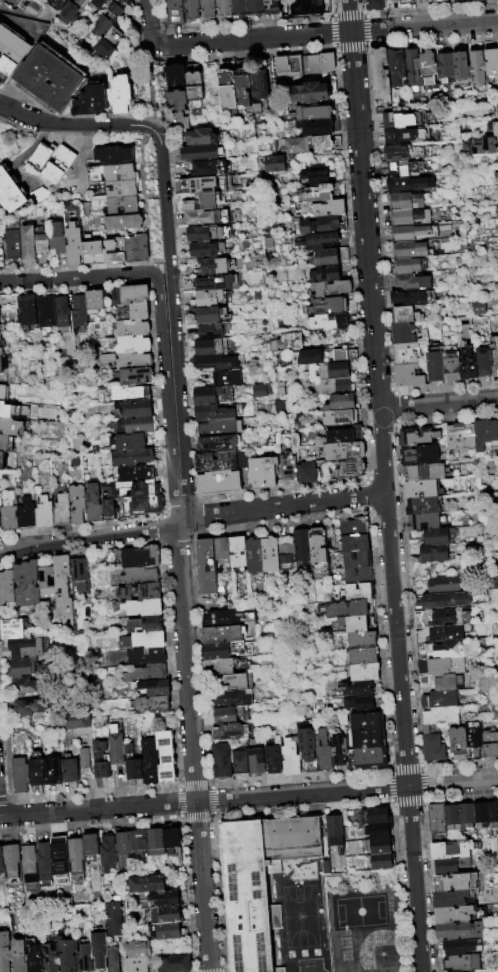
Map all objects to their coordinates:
building: (400, 0)
building: (469, 0)
building: (483, 0)
building: (423, 1)
building: (96, 3)
building: (56, 4)
building: (373, 5)
building: (272, 7)
building: (307, 7)
building: (32, 8)
building: (257, 8)
building: (224, 9)
building: (240, 9)
building: (191, 10)
building: (208, 10)
road: (423, 10)
building: (69, 11)
building: (175, 12)
road: (362, 12)
road: (347, 13)
road: (18, 14)
road: (333, 14)
road: (350, 16)
road: (366, 16)
building: (108, 17)
road: (330, 18)
road: (149, 23)
road: (240, 23)
road: (424, 27)
road: (330, 33)
road: (138, 38)
road: (251, 40)
building: (108, 43)
road: (365, 44)
road: (332, 49)
building: (11, 51)
road: (246, 54)
building: (320, 63)
building: (492, 63)
building: (446, 65)
building: (462, 65)
building: (290, 67)
building: (397, 67)
building: (414, 69)
building: (478, 69)
building: (429, 71)
building: (381, 72)
building: (176, 76)
building: (47, 80)
building: (195, 84)
building: (243, 85)
building: (211, 86)
building: (228, 86)
building: (260, 90)
building: (312, 93)
building: (119, 94)
building: (90, 101)
building: (180, 109)
building: (496, 110)
building: (314, 114)
road: (73, 116)
building: (494, 118)
road: (152, 120)
building: (403, 120)
road: (75, 125)
building: (316, 128)
building: (495, 129)
road: (152, 130)
building: (405, 136)
building: (203, 138)
building: (324, 144)
building: (481, 145)
road: (82, 149)
building: (202, 153)
building: (403, 153)
building: (113, 156)
building: (42, 157)
building: (497, 158)
building: (273, 163)
building: (59, 165)
building: (407, 168)
building: (210, 169)
building: (120, 174)
building: (317, 178)
building: (496, 178)
building: (410, 184)
building: (200, 186)
building: (121, 190)
building: (11, 191)
building: (319, 194)
road: (164, 196)
building: (406, 201)
road: (144, 202)
building: (203, 203)
building: (123, 206)
building: (324, 210)
building: (207, 218)
building: (410, 218)
building: (124, 223)
building: (320, 226)
building: (410, 233)
building: (208, 234)
building: (56, 237)
building: (320, 242)
building: (72, 243)
building: (11, 244)
building: (31, 244)
building: (135, 248)
building: (114, 249)
building: (410, 250)
building: (92, 251)
building: (206, 251)
building: (1, 256)
road: (169, 261)
road: (142, 263)
road: (370, 263)
building: (218, 266)
building: (407, 266)
building: (328, 267)
road: (80, 280)
building: (413, 282)
building: (217, 284)
building: (333, 290)
building: (131, 295)
building: (412, 297)
building: (210, 299)
building: (94, 302)
building: (329, 307)
building: (78, 309)
building: (27, 310)
building: (138, 311)
building: (46, 312)
building: (61, 312)
road: (180, 312)
building: (406, 315)
building: (209, 316)
building: (335, 323)
road: (175, 326)
building: (130, 329)
building: (211, 332)
building: (404, 334)
building: (0, 337)
building: (285, 341)
building: (131, 346)
building: (211, 348)
road: (358, 348)
building: (1, 351)
building: (406, 354)
building: (495, 356)
building: (133, 361)
building: (485, 362)
building: (218, 363)
building: (469, 363)
building: (436, 364)
building: (452, 364)
building: (1, 365)
building: (336, 367)
building: (409, 376)
building: (138, 377)
building: (227, 379)
building: (333, 387)
building: (260, 390)
building: (4, 393)
building: (127, 393)
building: (207, 397)
road: (166, 403)
building: (341, 403)
road: (440, 404)
building: (133, 409)
building: (4, 410)
building: (208, 413)
building: (341, 418)
building: (134, 425)
building: (10, 427)
building: (219, 429)
building: (494, 435)
building: (345, 436)
building: (461, 436)
building: (482, 436)
building: (417, 437)
building: (128, 442)
building: (6, 444)
building: (220, 444)
building: (345, 452)
building: (420, 455)
building: (133, 457)
building: (2, 462)
building: (222, 462)
building: (289, 469)
building: (351, 469)
building: (263, 473)
building: (424, 473)
building: (135, 474)
building: (308, 474)
building: (219, 483)
building: (114, 490)
building: (421, 490)
building: (93, 502)
building: (76, 503)
building: (423, 506)
road: (285, 509)
building: (109, 510)
building: (61, 511)
building: (8, 512)
building: (44, 512)
building: (26, 515)
building: (423, 522)
building: (0, 524)
building: (354, 527)
road: (90, 537)
building: (436, 538)
building: (355, 543)
building: (303, 545)
building: (223, 551)
building: (319, 552)
building: (286, 553)
building: (239, 554)
building: (435, 554)
building: (271, 556)
building: (141, 557)
building: (255, 558)
building: (357, 559)
building: (207, 568)
building: (80, 575)
building: (140, 576)
building: (358, 576)
building: (48, 582)
building: (28, 584)
building: (445, 585)
building: (65, 587)
building: (8, 588)
building: (141, 592)
building: (357, 592)
building: (446, 601)
building: (144, 608)
building: (348, 609)
building: (440, 618)
building: (228, 619)
building: (354, 624)
building: (146, 625)
building: (16, 629)
building: (223, 634)
building: (441, 635)
building: (363, 640)
road: (400, 640)
building: (145, 641)
building: (30, 648)
building: (227, 650)
building: (447, 650)
building: (364, 656)
building: (146, 657)
road: (186, 662)
building: (442, 666)
building: (24, 667)
building: (220, 667)
building: (365, 672)
building: (148, 674)
building: (238, 682)
building: (442, 684)
building: (28, 686)
building: (157, 688)
building: (357, 689)
building: (233, 700)
building: (439, 701)
building: (360, 704)
building: (153, 705)
building: (30, 707)
building: (232, 716)
building: (441, 716)
building: (368, 722)
building: (231, 733)
building: (82, 735)
building: (369, 739)
building: (473, 739)
building: (306, 743)
building: (457, 744)
building: (490, 745)
building: (117, 747)
building: (338, 747)
building: (432, 747)
building: (323, 752)
building: (275, 757)
building: (167, 758)
building: (291, 758)
building: (371, 758)
building: (103, 761)
building: (222, 761)
building: (257, 762)
building: (241, 763)
building: (134, 765)
building: (151, 765)
building: (38, 770)
building: (72, 771)
building: (55, 775)
building: (22, 777)
road: (454, 783)
road: (304, 795)
road: (98, 810)
building: (481, 814)
building: (493, 814)
building: (375, 816)
building: (466, 816)
building: (452, 817)
building: (436, 818)
building: (334, 830)
building: (378, 831)
building: (171, 838)
building: (139, 839)
building: (155, 842)
building: (90, 846)
building: (378, 846)
building: (123, 848)
building: (450, 850)
building: (108, 853)
building: (59, 855)
building: (76, 857)
building: (11, 860)
building: (1, 861)
building: (44, 862)
building: (380, 862)
building: (28, 865)
building: (453, 866)
road: (417, 879)
building: (259, 882)
building: (458, 882)
building: (146, 884)
road: (203, 887)
building: (165, 898)
building: (453, 899)
park: (356, 910)
building: (166, 915)
building: (458, 915)
building: (113, 917)
building: (459, 930)
building: (166, 931)
building: (458, 947)
building: (99, 949)
building: (4, 952)
building: (51, 953)
building: (67, 955)
building: (18, 956)
building: (34, 956)
building: (137, 956)
building: (83, 957)
building: (113, 959)
building: (461, 963)
building: (175, 964)
building: (457, 971)
building: (470, 971)

